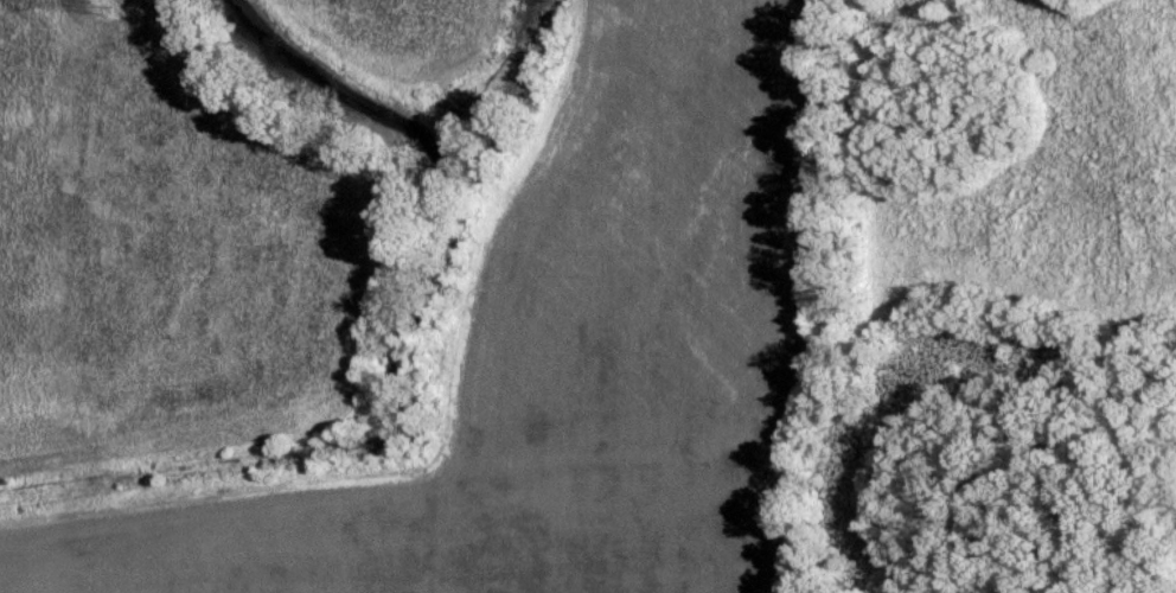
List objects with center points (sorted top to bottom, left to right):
power tower: (98, 8)

